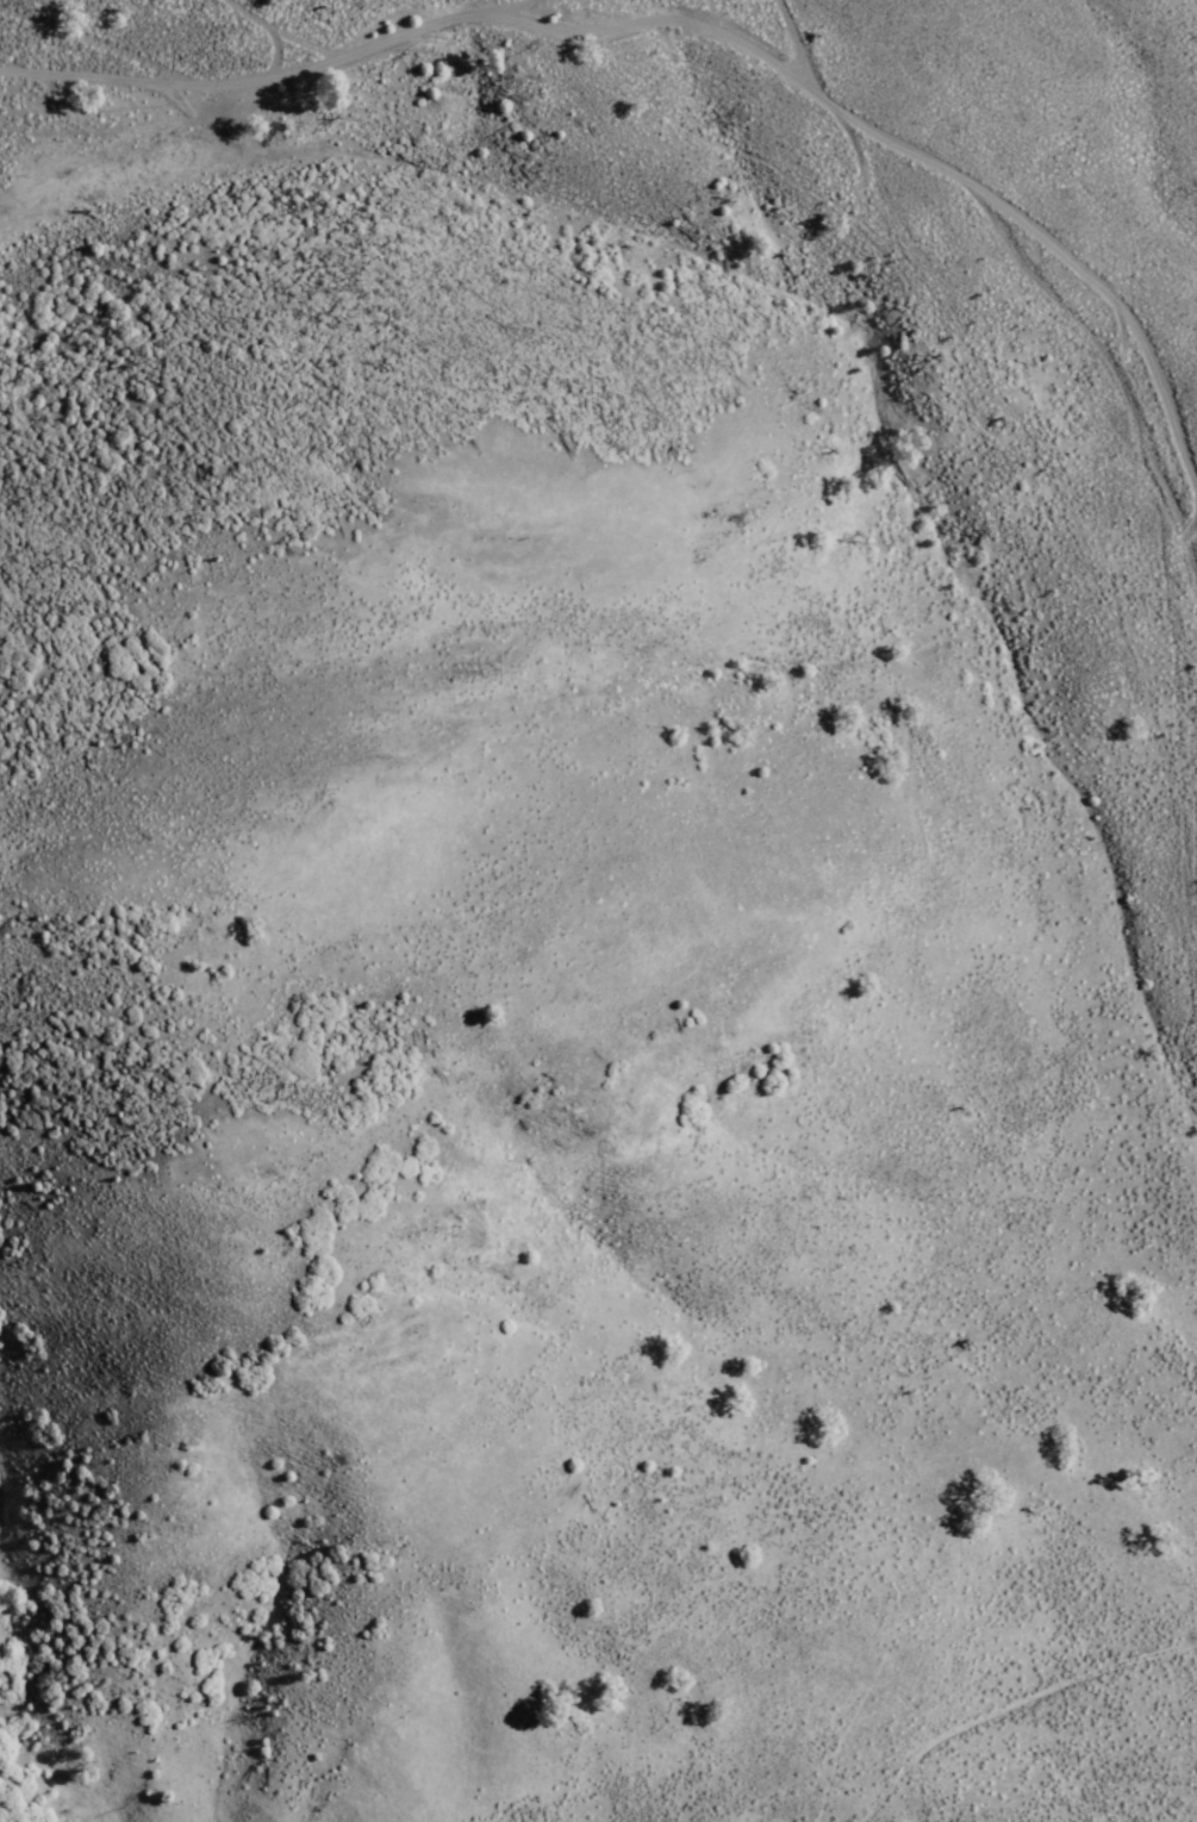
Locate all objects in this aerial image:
road: (517, 4)
road: (430, 18)
road: (292, 32)
road: (94, 37)
road: (802, 44)
road: (274, 68)
road: (92, 73)
road: (163, 117)
road: (918, 148)
road: (1011, 1705)

